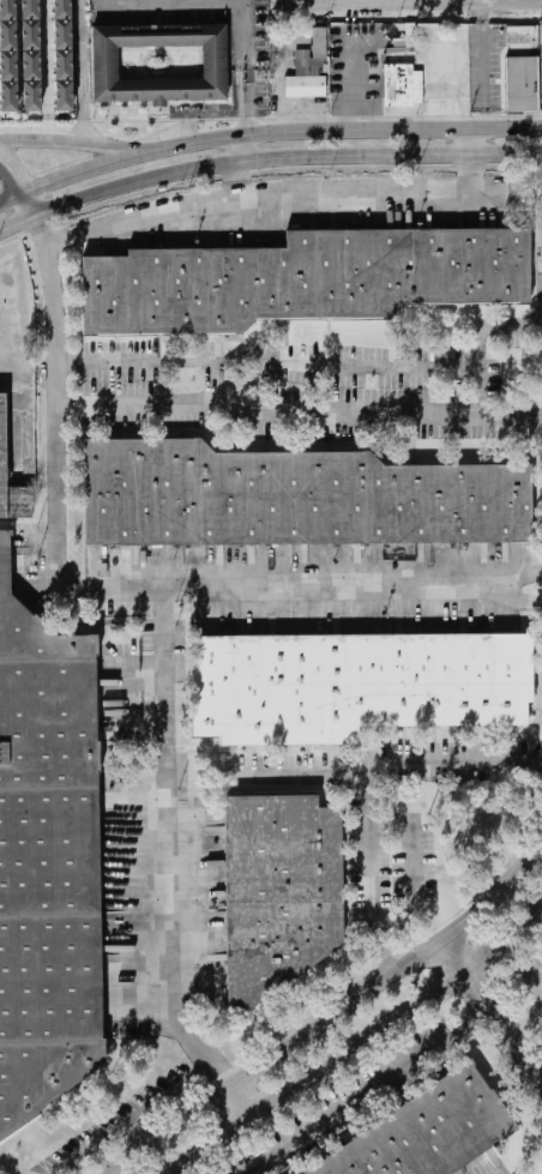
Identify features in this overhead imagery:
road: (169, 2)
road: (409, 6)
building: (6, 10)
building: (60, 10)
building: (29, 11)
building: (61, 35)
building: (7, 36)
building: (28, 36)
building: (317, 46)
building: (102, 62)
building: (61, 65)
building: (7, 67)
building: (29, 67)
road: (247, 67)
road: (481, 67)
road: (48, 70)
road: (88, 71)
building: (522, 83)
building: (401, 84)
building: (303, 86)
building: (61, 96)
building: (7, 97)
building: (29, 98)
road: (278, 131)
road: (46, 139)
road: (472, 143)
road: (116, 146)
road: (242, 149)
road: (265, 161)
road: (16, 167)
road: (8, 182)
road: (237, 183)
road: (12, 195)
road: (375, 200)
road: (30, 205)
road: (138, 216)
building: (305, 277)
road: (55, 311)
road: (495, 324)
road: (267, 355)
road: (511, 355)
road: (219, 384)
road: (477, 385)
road: (150, 404)
road: (390, 415)
building: (2, 439)
building: (294, 496)
road: (492, 586)
road: (188, 589)
building: (355, 685)
road: (385, 764)
road: (174, 848)
building: (47, 862)
road: (372, 875)
road: (416, 887)
building: (282, 890)
road: (529, 975)
road: (492, 1010)
road: (333, 1019)
road: (362, 1047)
road: (361, 1088)
road: (251, 1102)
road: (138, 1120)
building: (426, 1131)

